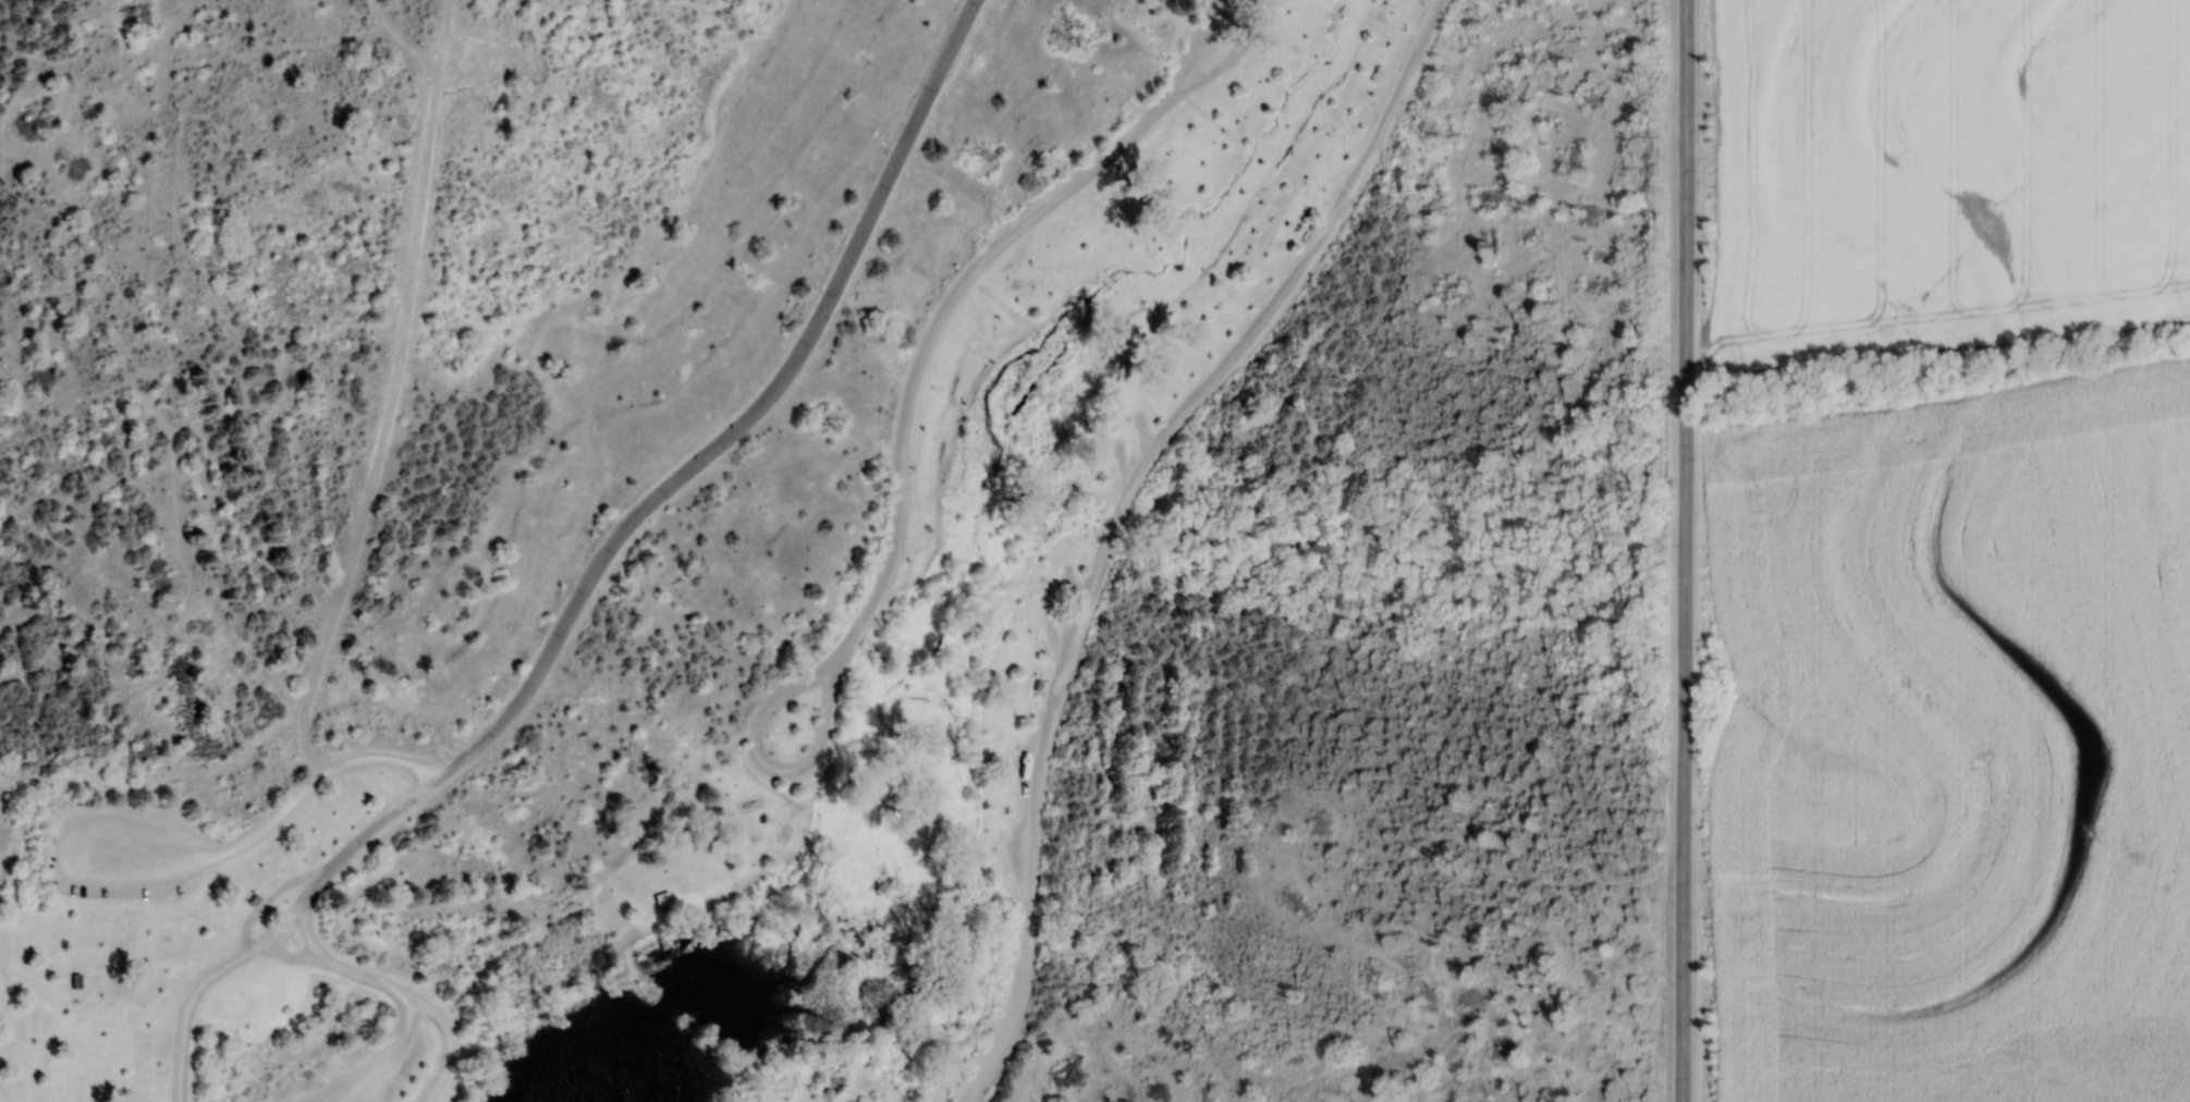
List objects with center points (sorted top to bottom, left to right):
road: (1522, 4)
road: (455, 41)
road: (414, 42)
road: (1240, 51)
road: (73, 58)
road: (1610, 223)
road: (197, 255)
road: (958, 287)
road: (142, 310)
road: (1373, 350)
road: (1146, 434)
road: (393, 436)
road: (1125, 464)
road: (680, 480)
road: (1559, 486)
road: (1121, 517)
road: (83, 543)
park: (842, 550)
road: (1684, 551)
road: (1074, 585)
road: (1388, 634)
road: (1053, 639)
road: (86, 646)
road: (160, 656)
building: (1033, 684)
road: (1326, 695)
road: (776, 699)
road: (1298, 702)
road: (1386, 712)
road: (1470, 719)
road: (13, 728)
road: (1343, 736)
road: (1442, 737)
road: (1325, 742)
road: (45, 751)
road: (1302, 756)
road: (1021, 763)
road: (23, 773)
road: (1476, 774)
road: (1344, 777)
road: (1318, 779)
road: (63, 780)
road: (317, 783)
road: (129, 784)
road: (1573, 789)
road: (47, 795)
road: (28, 803)
road: (1013, 847)
parking lot: (125, 855)
road: (136, 857)
building: (664, 897)
road: (286, 926)
road: (310, 933)
road: (1430, 935)
road: (1197, 936)
road: (295, 957)
road: (368, 978)
building: (76, 980)
road: (191, 1003)
building: (171, 1009)
road: (451, 1044)
road: (386, 1057)
parking lot: (350, 1077)

